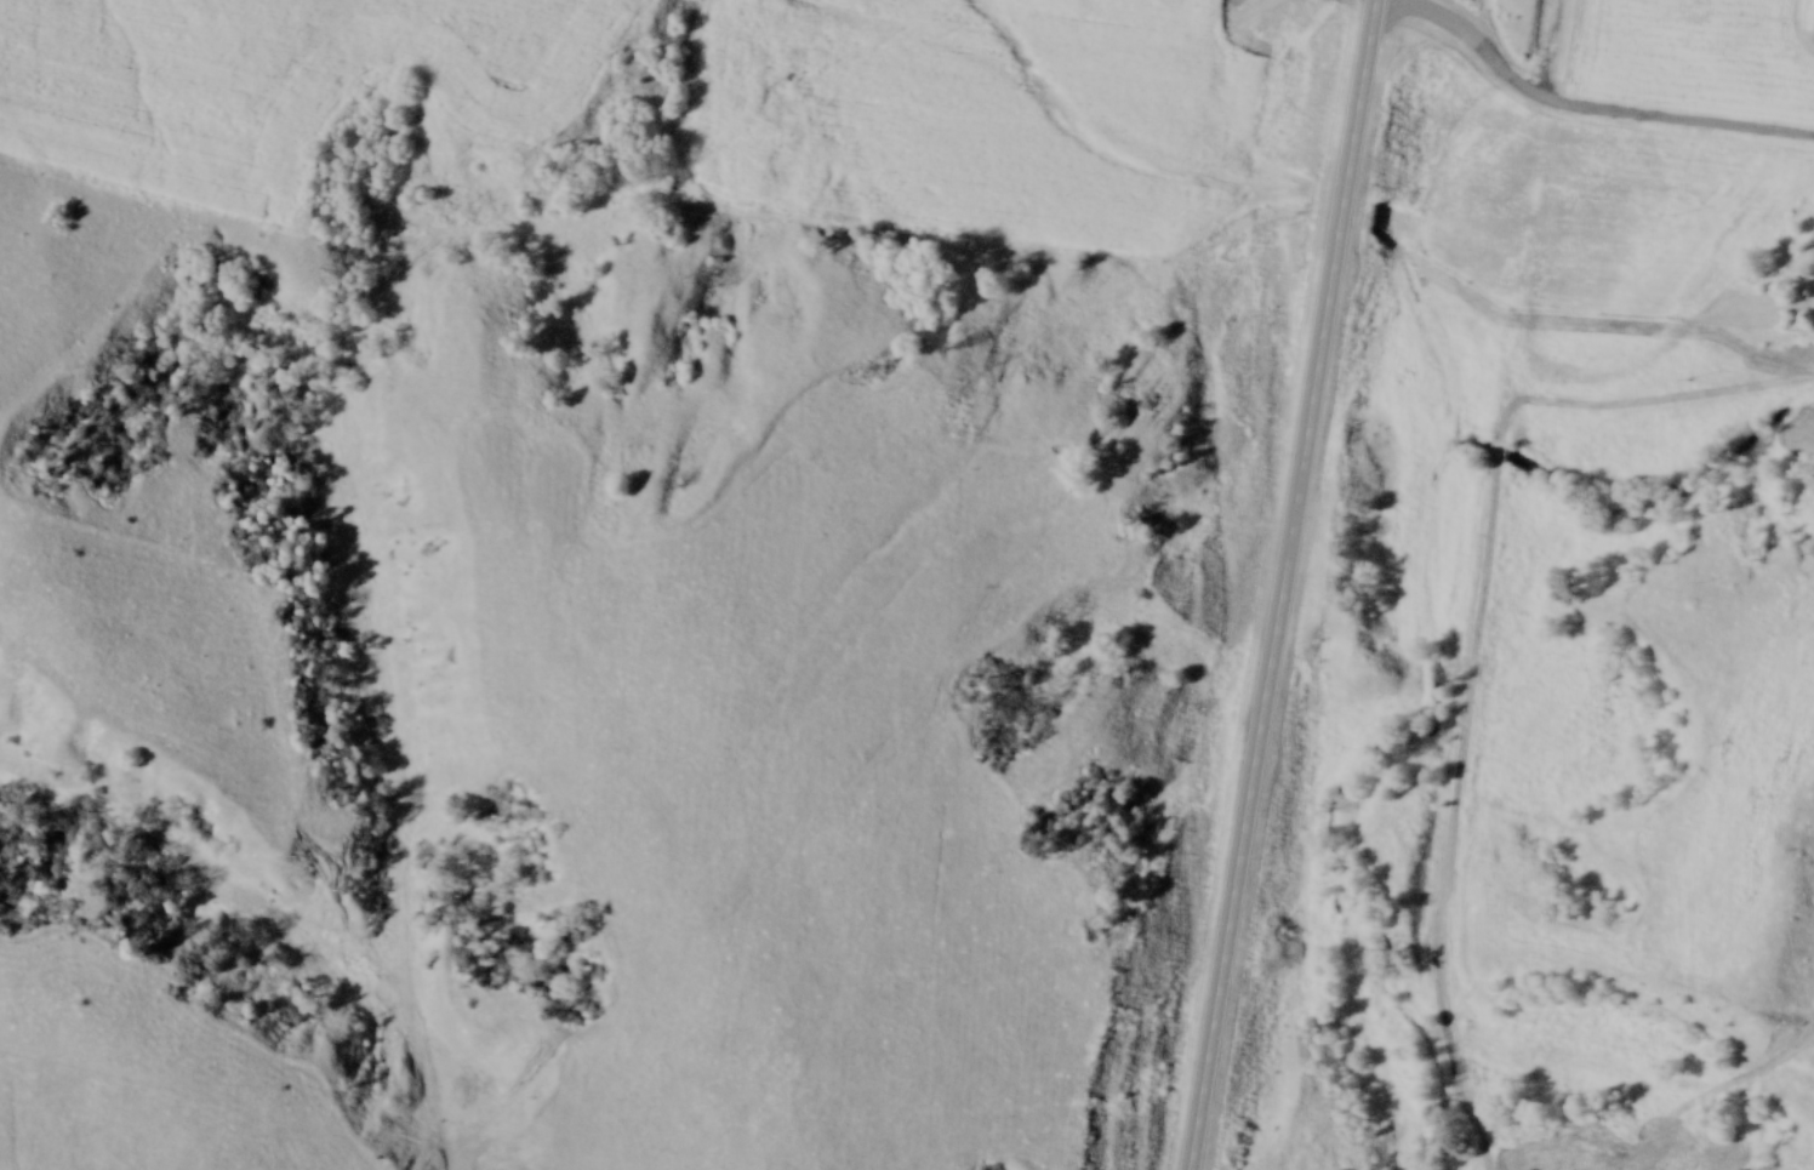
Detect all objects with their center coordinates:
road: (1581, 113)
building: (1499, 456)
road: (1284, 584)

